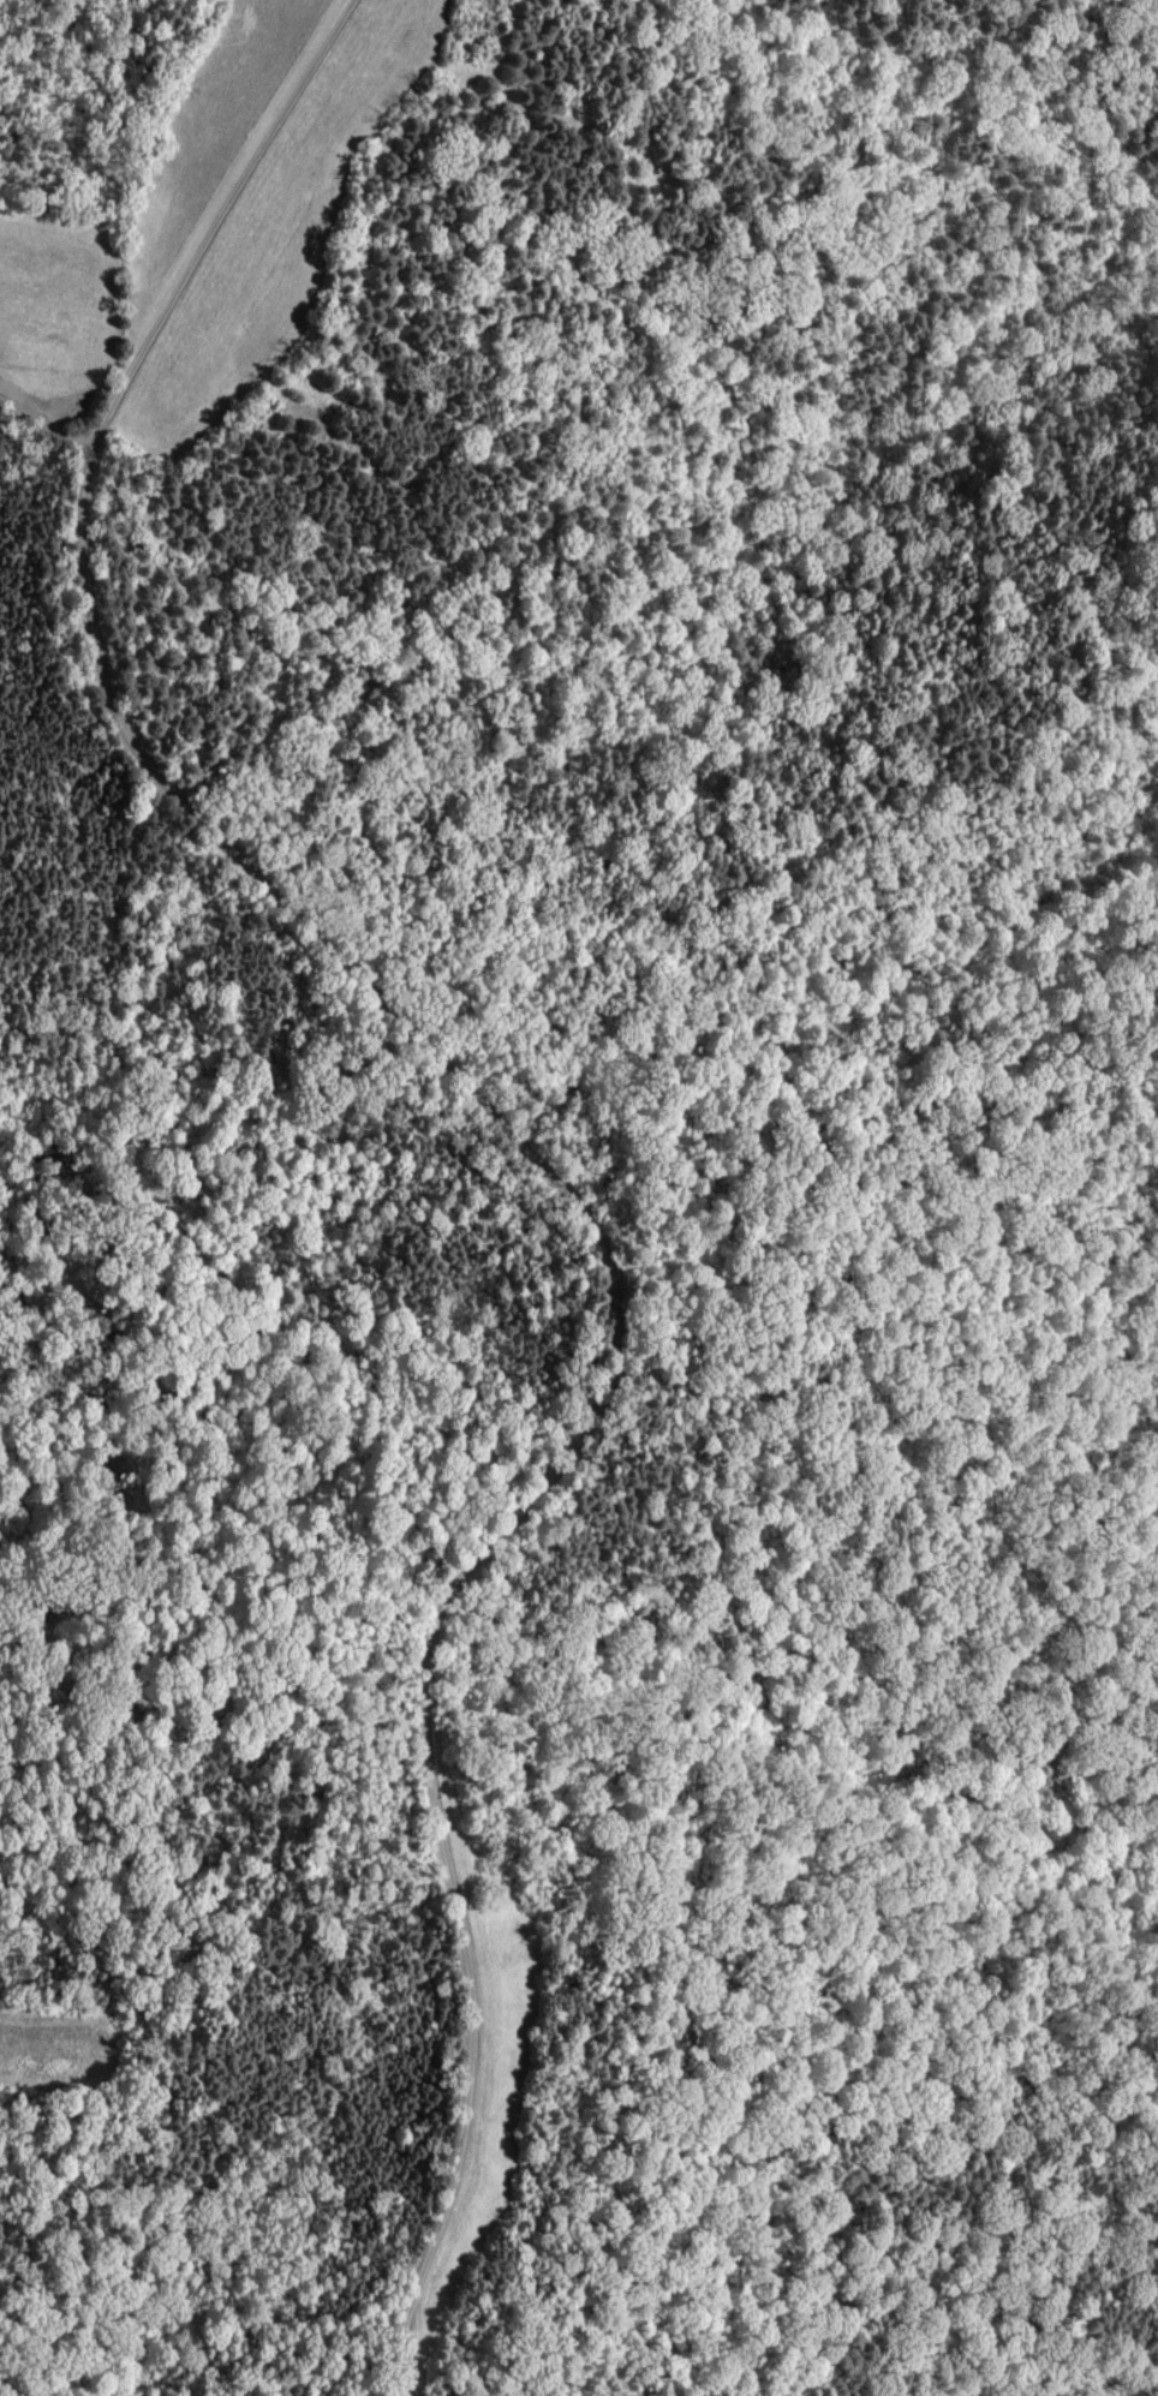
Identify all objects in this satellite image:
road: (43, 404)
road: (525, 1121)

